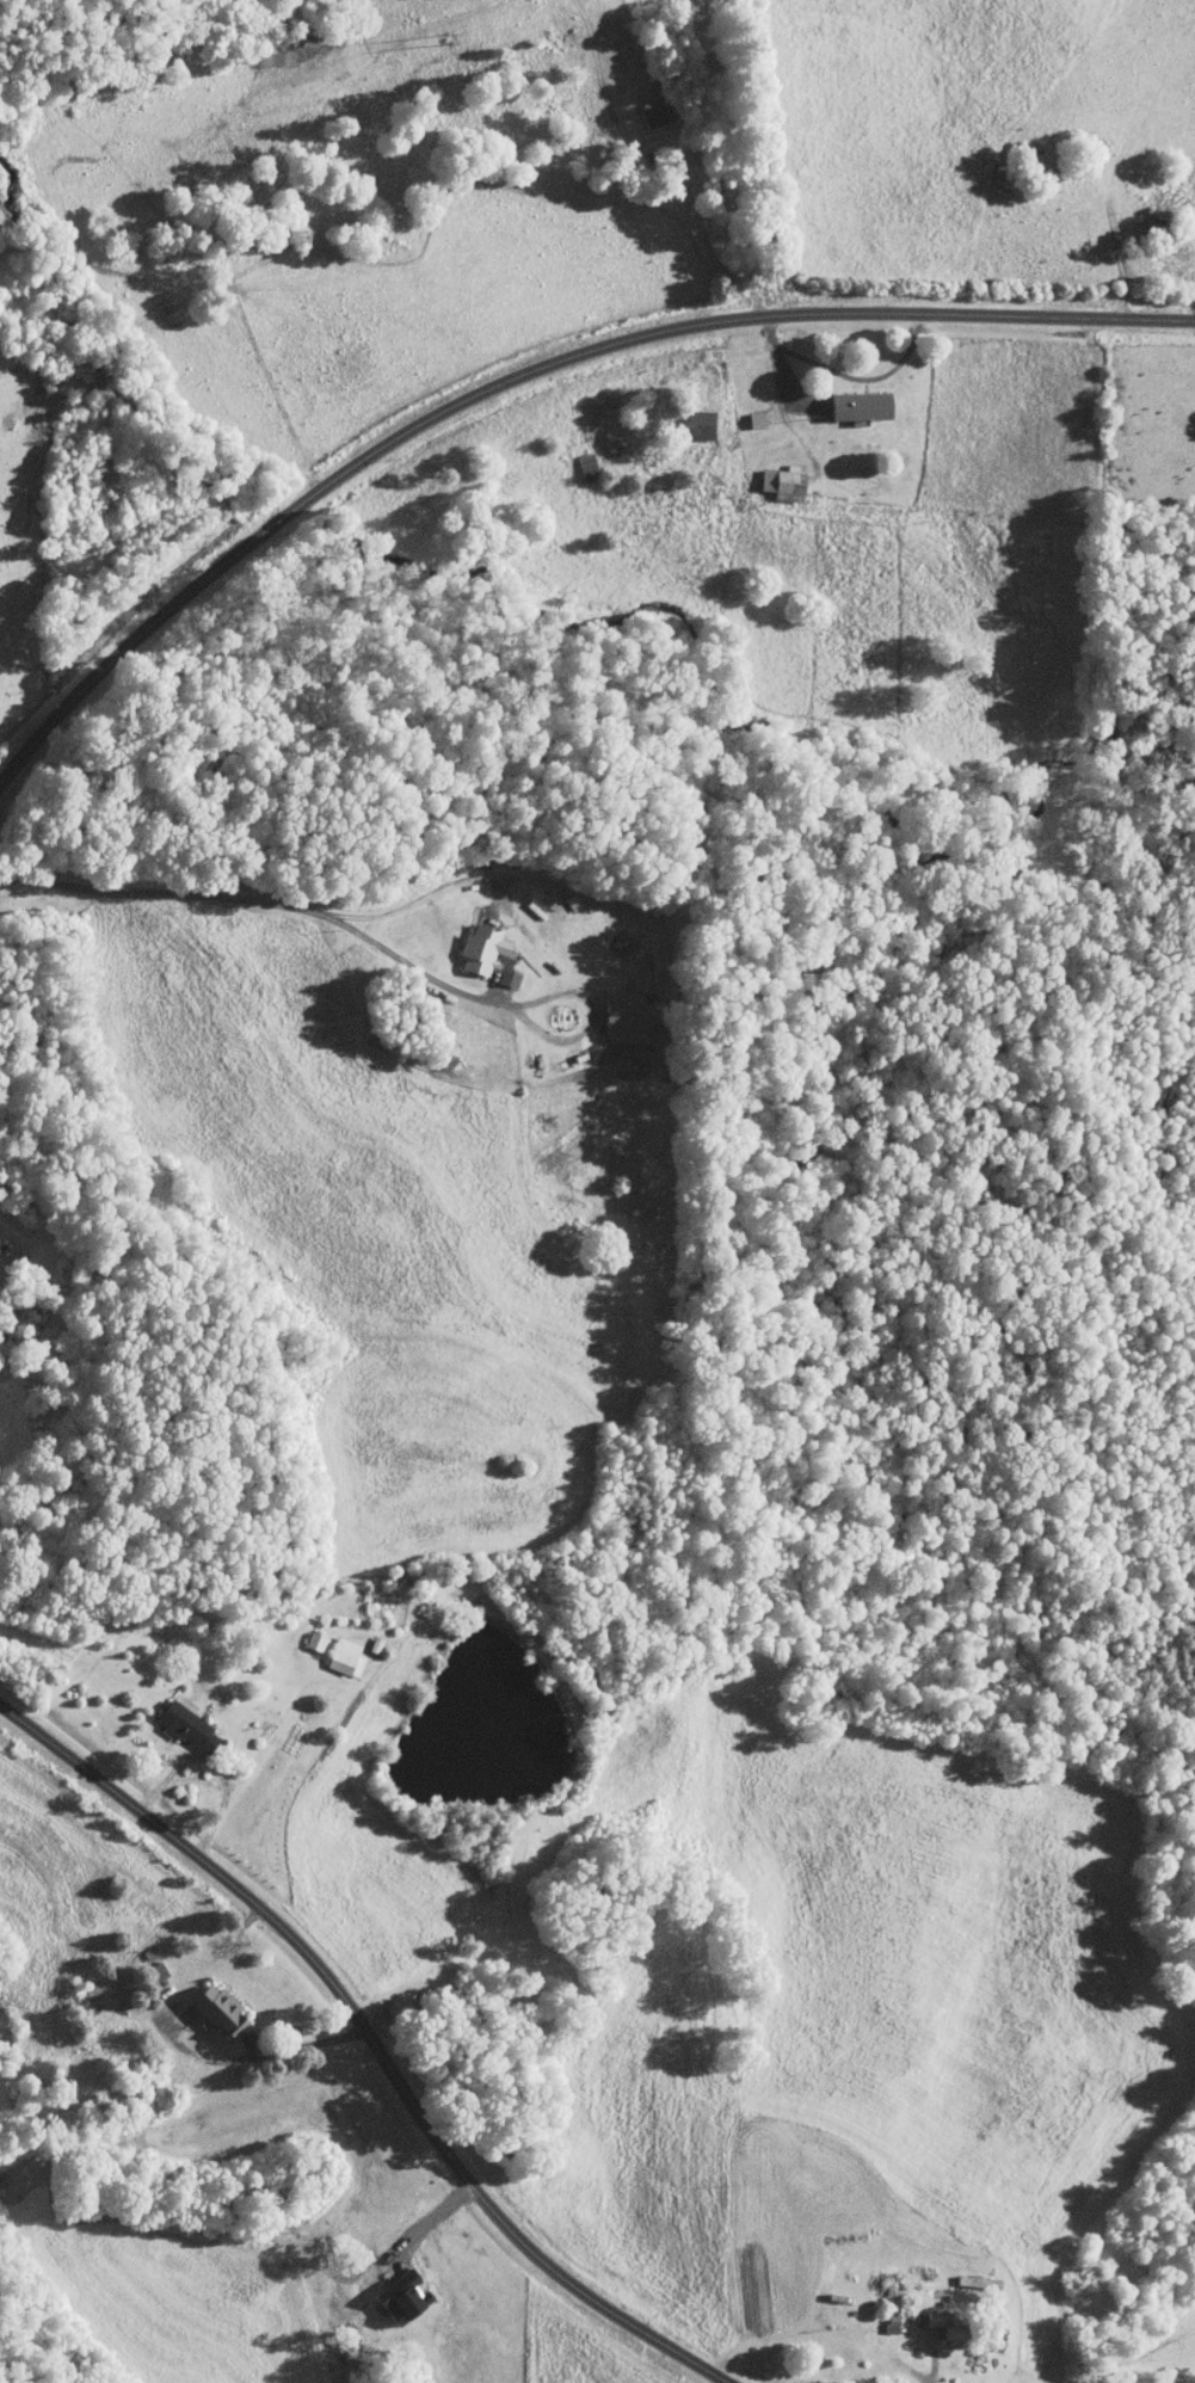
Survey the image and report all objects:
building: (664, 113)
road: (782, 365)
road: (529, 375)
road: (864, 377)
building: (868, 405)
building: (760, 419)
building: (701, 423)
building: (789, 480)
road: (426, 893)
building: (575, 901)
road: (310, 911)
building: (488, 947)
building: (511, 977)
building: (629, 1016)
building: (350, 1656)
building: (193, 1726)
road: (214, 1765)
building: (227, 2009)
road: (369, 2042)
road: (250, 2053)
building: (408, 2296)
road: (936, 2356)

